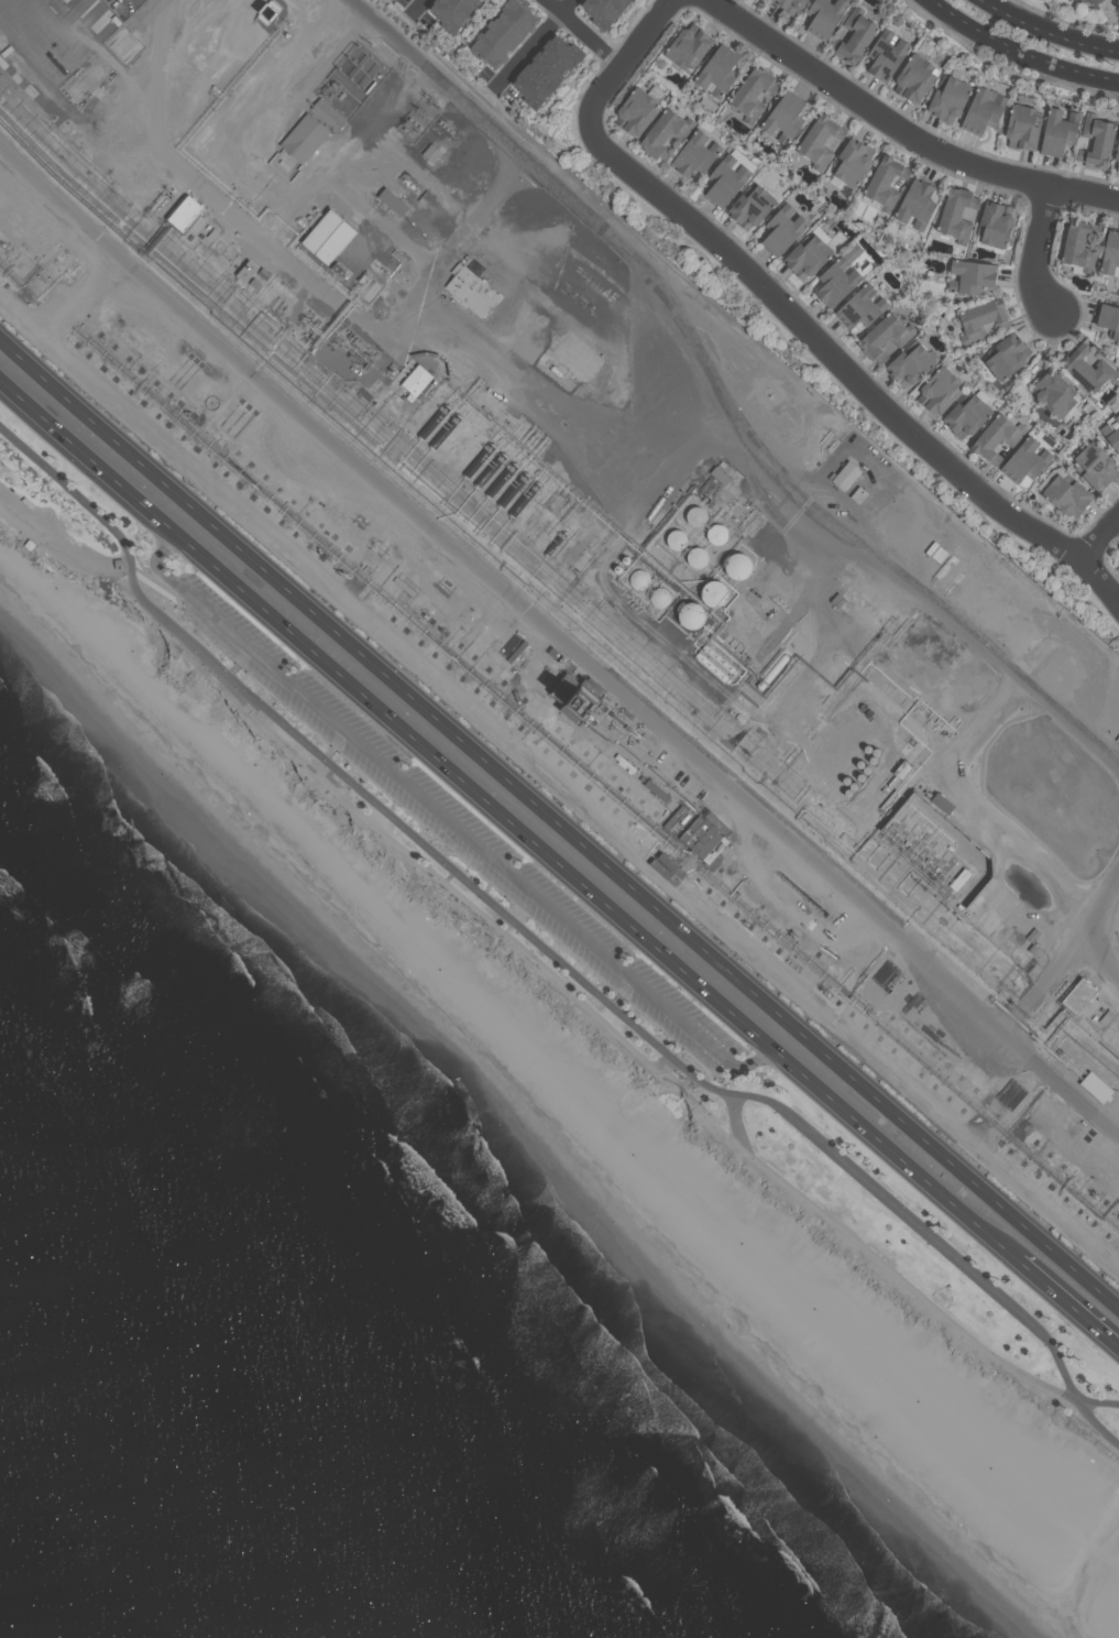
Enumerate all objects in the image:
park: (1020, 2)
building: (1094, 2)
building: (789, 4)
road: (419, 8)
building: (603, 10)
building: (451, 12)
building: (823, 18)
road: (586, 32)
road: (1046, 33)
building: (502, 34)
building: (853, 36)
road: (536, 46)
building: (687, 47)
building: (6, 51)
road: (1019, 52)
building: (884, 56)
road: (628, 59)
building: (545, 70)
building: (716, 73)
building: (913, 78)
building: (752, 92)
building: (947, 99)
building: (981, 111)
building: (635, 112)
building: (333, 114)
building: (782, 117)
building: (1021, 123)
road: (901, 130)
building: (663, 133)
building: (1056, 133)
building: (309, 136)
building: (820, 139)
building: (1095, 143)
building: (435, 153)
building: (1116, 155)
building: (694, 156)
building: (849, 164)
building: (725, 182)
building: (884, 182)
building: (399, 203)
building: (915, 205)
building: (750, 208)
building: (193, 211)
building: (955, 216)
building: (992, 226)
building: (208, 227)
building: (330, 229)
building: (781, 230)
road: (469, 231)
building: (212, 233)
building: (200, 234)
building: (189, 236)
building: (345, 241)
building: (1078, 244)
road: (1040, 251)
building: (1110, 254)
building: (805, 255)
building: (248, 270)
building: (264, 272)
building: (969, 275)
building: (838, 277)
building: (255, 282)
building: (475, 292)
road: (78, 293)
building: (859, 307)
building: (981, 320)
building: (1108, 323)
building: (337, 337)
road: (380, 337)
building: (884, 337)
building: (1006, 357)
building: (909, 365)
road: (849, 369)
building: (1086, 371)
building: (420, 383)
building: (937, 391)
building: (1053, 394)
road: (723, 396)
building: (968, 415)
building: (1117, 418)
building: (434, 421)
building: (446, 429)
building: (1111, 436)
building: (996, 438)
building: (479, 459)
building: (1024, 461)
building: (722, 463)
building: (1094, 467)
building: (490, 470)
building: (720, 474)
building: (851, 476)
building: (500, 480)
building: (514, 488)
building: (1064, 493)
building: (864, 494)
building: (525, 498)
building: (695, 515)
building: (716, 533)
road: (1101, 537)
building: (676, 538)
building: (555, 544)
building: (33, 547)
building: (937, 554)
building: (696, 556)
building: (625, 559)
building: (1118, 561)
building: (739, 565)
building: (617, 568)
building: (637, 579)
building: (715, 592)
road: (802, 594)
building: (658, 598)
building: (836, 601)
building: (691, 613)
road: (557, 640)
road: (667, 644)
building: (720, 657)
building: (772, 671)
road: (402, 681)
road: (387, 714)
building: (900, 771)
road: (558, 785)
road: (427, 798)
parking lot: (459, 827)
road: (710, 843)
building: (923, 852)
road: (438, 873)
building: (1032, 936)
road: (540, 942)
building: (1031, 950)
road: (1099, 952)
road: (1062, 955)
building: (1085, 996)
building: (1099, 1009)
building: (1104, 1018)
building: (1093, 1019)
road: (752, 1062)
road: (739, 1121)
road: (893, 1151)
road: (962, 1165)
road: (1065, 1298)
road: (932, 1302)

